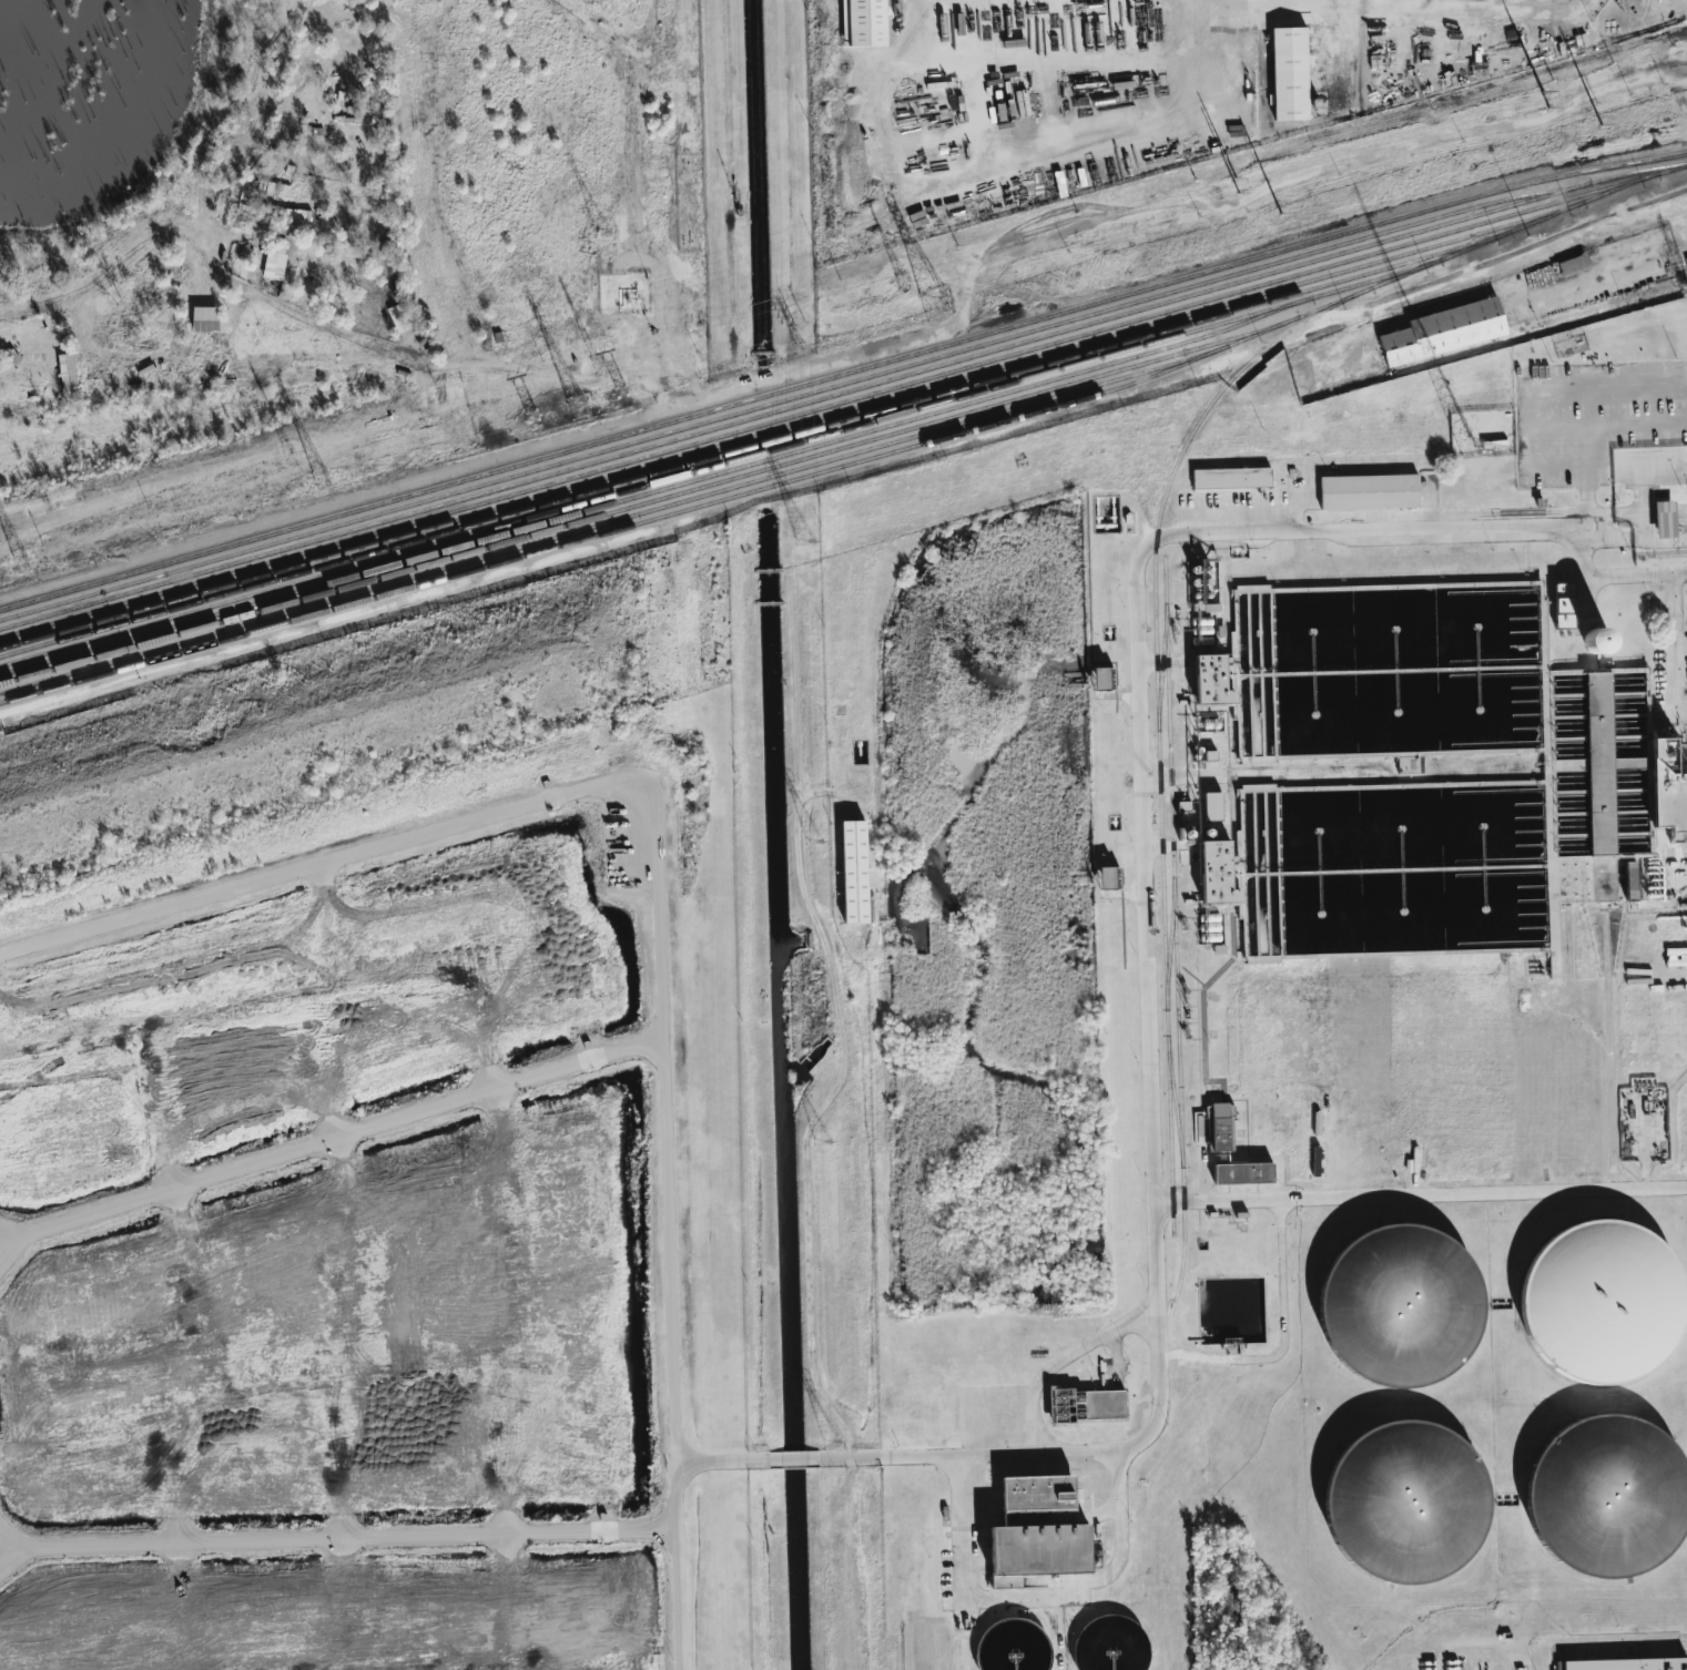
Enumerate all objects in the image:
power tower: (600, 3)
building: (862, 23)
road: (1420, 26)
building: (1247, 48)
building: (1288, 73)
power tower: (1530, 104)
power tower: (1542, 139)
road: (1321, 169)
power tower: (1216, 191)
power tower: (1234, 224)
railway: (1513, 230)
power tower: (603, 243)
road: (1536, 255)
building: (273, 259)
building: (1571, 265)
power tower: (903, 279)
power tower: (937, 304)
building: (202, 319)
building: (1454, 327)
road: (325, 330)
power tower: (800, 348)
building: (1395, 348)
power tower: (597, 366)
building: (64, 371)
railway: (841, 374)
power tower: (622, 390)
railway: (842, 393)
railway: (793, 397)
railway: (843, 401)
power tower: (579, 408)
power tower: (532, 416)
railway: (791, 426)
railway: (754, 445)
building: (1493, 445)
power tower: (288, 452)
road: (496, 458)
railway: (719, 464)
building: (1230, 478)
power tower: (322, 479)
railway: (657, 490)
building: (1366, 492)
road: (1587, 496)
railway: (649, 501)
railway: (689, 508)
building: (1663, 519)
railway: (613, 520)
power tower: (805, 541)
power tower: (21, 563)
road: (1612, 576)
building: (1203, 584)
building: (1562, 607)
building: (1594, 642)
railway: (1160, 666)
building: (1100, 680)
building: (1208, 681)
railway: (1157, 713)
road: (1139, 736)
building: (1598, 764)
building: (1664, 791)
building: (1211, 807)
power tower: (814, 842)
building: (851, 873)
building: (1213, 873)
building: (1107, 878)
building: (1629, 882)
road: (657, 895)
railway: (1175, 928)
railway: (1169, 944)
road: (1608, 1040)
railway: (1173, 1101)
building: (1219, 1126)
road: (328, 1140)
power tower: (821, 1142)
building: (1240, 1172)
road: (1419, 1194)
road: (804, 1221)
road: (1281, 1297)
building: (1396, 1303)
road: (1060, 1358)
building: (1083, 1405)
power tower: (831, 1444)
road: (796, 1458)
road: (834, 1458)
road: (724, 1462)
building: (1402, 1500)
building: (1033, 1531)
road: (335, 1538)
road: (1034, 1599)
road: (1598, 1640)
road: (1488, 1642)
building: (1610, 1664)
power substation: (1610, 1664)
building: (1671, 1664)
power substation: (1671, 1664)

